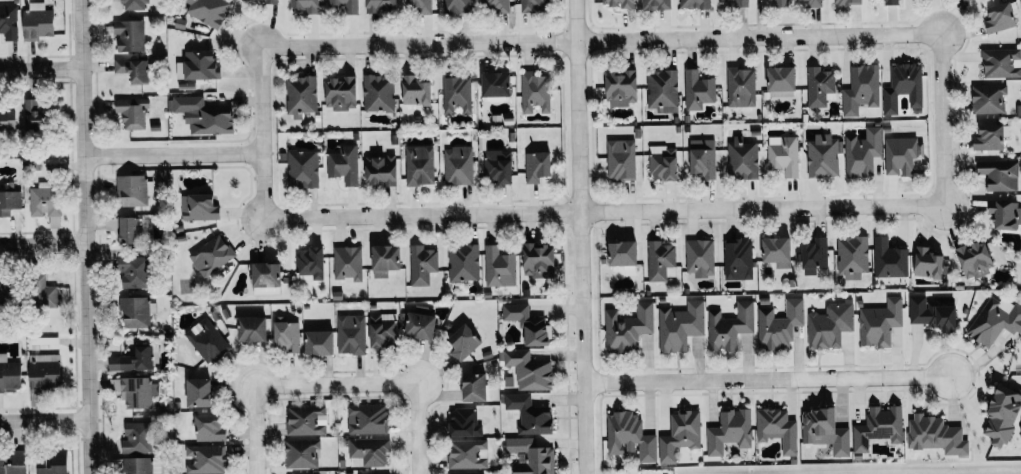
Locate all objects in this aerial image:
building: (270, 1)
building: (847, 2)
building: (892, 2)
building: (619, 3)
building: (695, 3)
building: (741, 3)
building: (781, 3)
building: (815, 3)
building: (134, 4)
building: (381, 4)
building: (658, 4)
building: (308, 5)
building: (346, 5)
building: (495, 5)
building: (535, 5)
building: (419, 6)
building: (457, 6)
building: (208, 10)
building: (1000, 17)
building: (8, 21)
building: (37, 21)
building: (129, 34)
road: (801, 36)
road: (365, 45)
building: (1002, 62)
building: (201, 64)
road: (41, 66)
building: (133, 69)
building: (782, 81)
building: (497, 84)
building: (819, 85)
building: (741, 86)
building: (903, 87)
building: (622, 88)
building: (860, 88)
building: (698, 89)
building: (662, 90)
building: (416, 91)
building: (535, 91)
building: (341, 92)
building: (378, 92)
building: (457, 93)
building: (301, 95)
building: (988, 98)
building: (132, 112)
building: (34, 114)
building: (204, 115)
building: (7, 118)
building: (989, 137)
building: (863, 152)
road: (172, 153)
building: (784, 154)
building: (900, 155)
building: (823, 156)
building: (703, 157)
building: (743, 158)
building: (621, 159)
building: (663, 162)
building: (344, 164)
building: (420, 164)
building: (458, 165)
building: (498, 166)
building: (537, 166)
building: (303, 168)
building: (381, 170)
building: (1000, 174)
building: (131, 189)
building: (44, 200)
building: (9, 201)
building: (199, 207)
road: (803, 207)
building: (1004, 213)
road: (387, 216)
building: (128, 230)
road: (84, 237)
road: (580, 237)
road: (42, 242)
building: (778, 251)
building: (623, 253)
building: (212, 255)
building: (814, 255)
building: (852, 256)
building: (700, 257)
building: (975, 258)
building: (386, 259)
building: (738, 259)
building: (889, 259)
building: (539, 260)
building: (660, 261)
building: (464, 262)
building: (310, 263)
building: (348, 263)
building: (928, 263)
building: (422, 264)
building: (499, 267)
building: (134, 271)
building: (267, 278)
building: (3, 292)
building: (42, 292)
building: (136, 311)
building: (933, 313)
building: (995, 319)
building: (880, 322)
building: (420, 323)
building: (529, 324)
building: (779, 324)
building: (830, 324)
building: (680, 326)
building: (729, 326)
building: (628, 327)
building: (253, 328)
building: (382, 332)
building: (287, 334)
building: (351, 334)
building: (207, 340)
building: (463, 342)
building: (133, 360)
building: (45, 370)
building: (529, 370)
building: (10, 373)
road: (769, 380)
road: (417, 387)
building: (476, 387)
road: (254, 388)
building: (137, 391)
building: (199, 392)
building: (530, 414)
building: (1003, 414)
road: (44, 419)
building: (304, 419)
building: (367, 419)
building: (464, 423)
building: (879, 427)
building: (209, 428)
building: (778, 429)
building: (730, 431)
building: (826, 431)
building: (680, 434)
building: (936, 434)
building: (629, 436)
building: (136, 437)
building: (370, 451)
building: (302, 453)
building: (468, 453)
building: (531, 457)
building: (205, 459)
building: (13, 463)
building: (53, 463)
building: (141, 465)
building: (468, 473)

